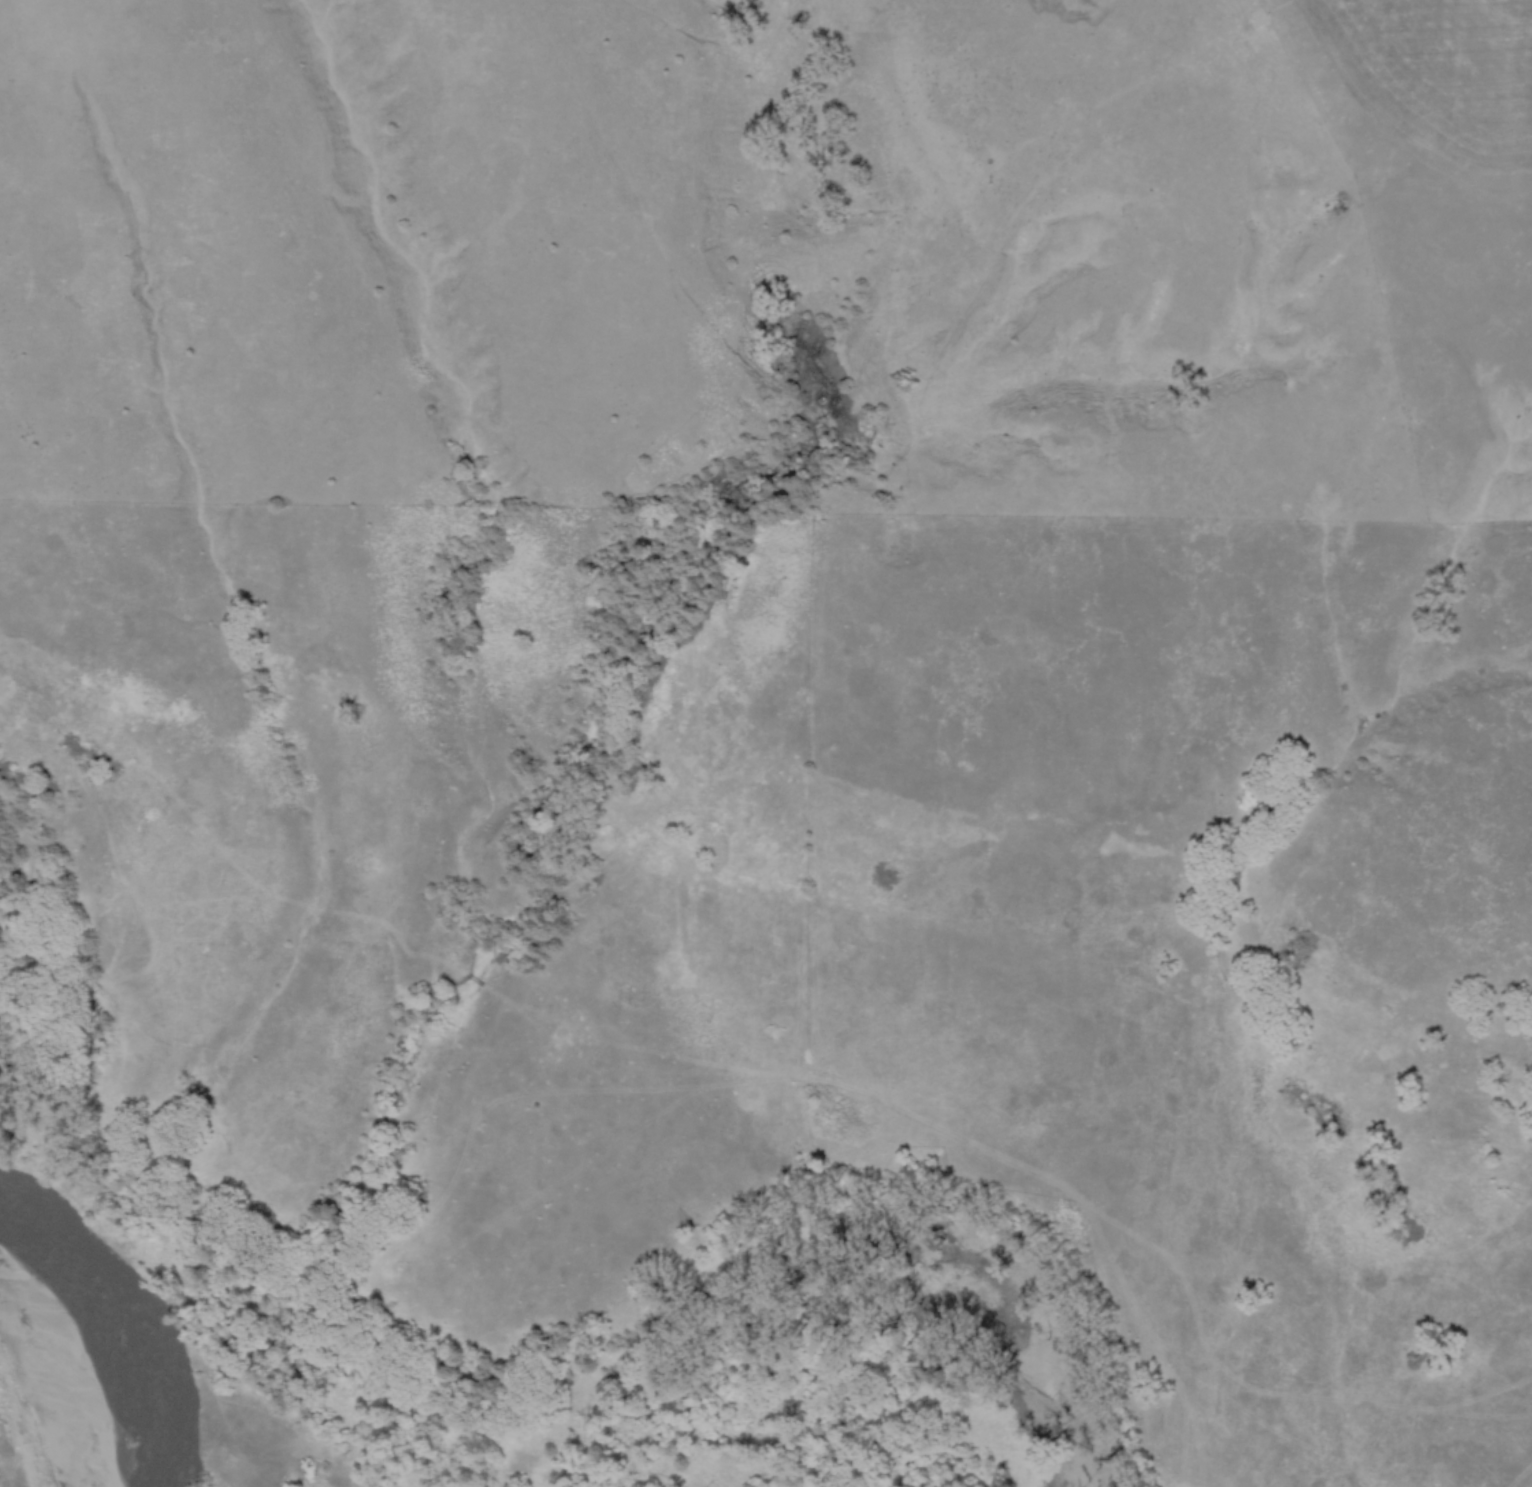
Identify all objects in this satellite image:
river: (91, 1346)

